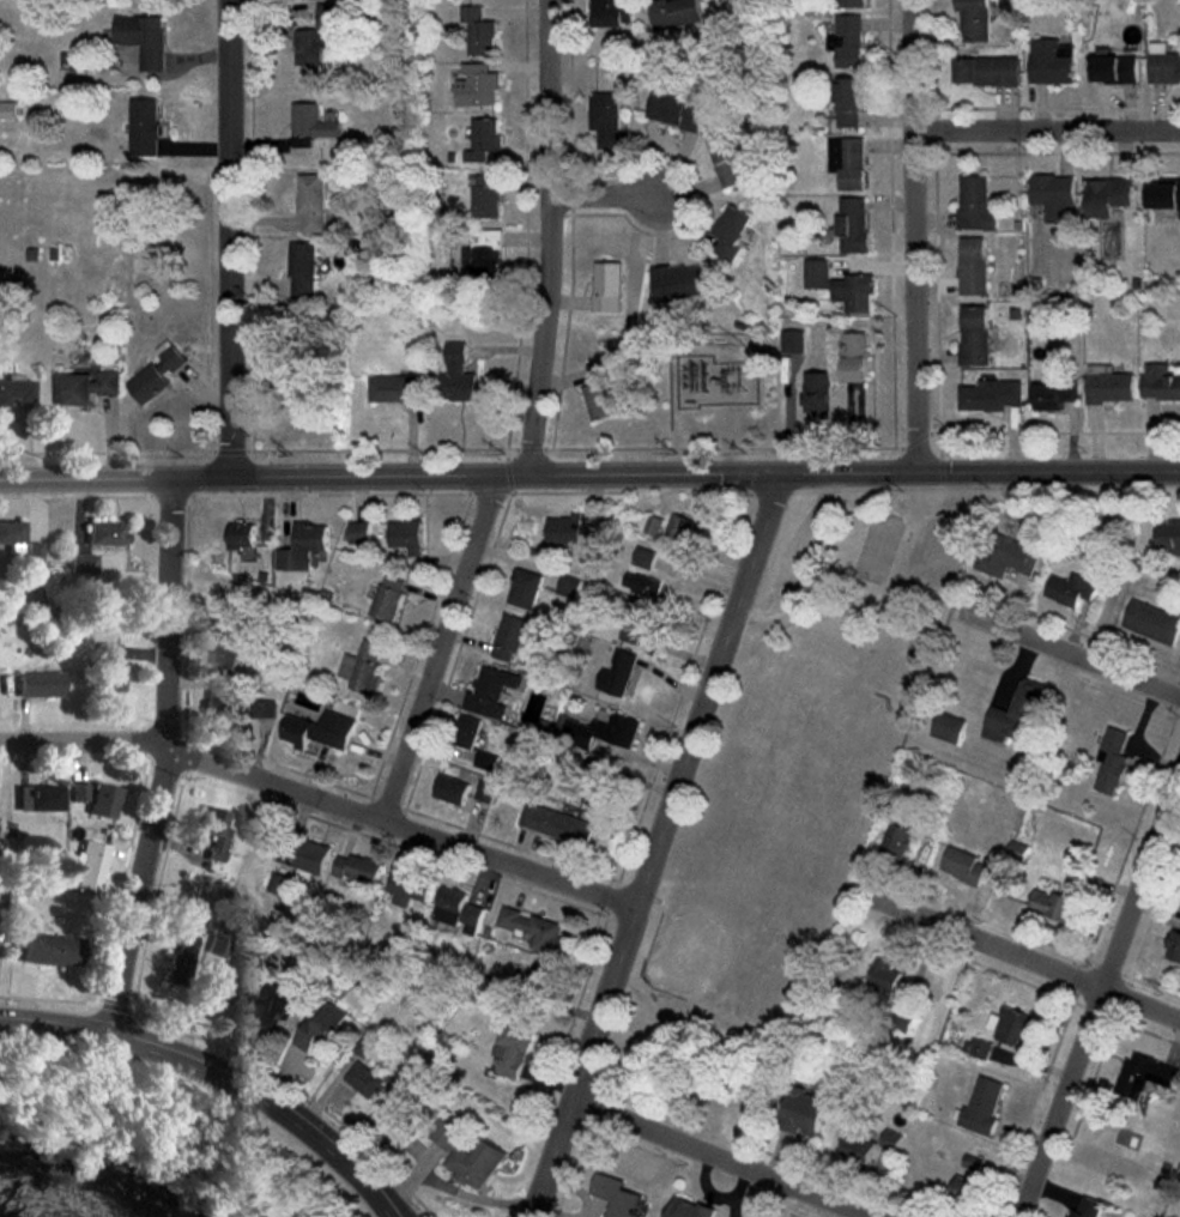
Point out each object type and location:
building: (854, 2)
building: (613, 12)
building: (676, 13)
building: (975, 19)
building: (479, 31)
building: (316, 36)
building: (143, 38)
building: (848, 41)
building: (1052, 61)
building: (1163, 63)
building: (1115, 69)
building: (987, 71)
building: (478, 85)
building: (851, 101)
building: (8, 110)
building: (677, 110)
building: (606, 119)
building: (310, 125)
building: (145, 127)
road: (1048, 131)
building: (485, 139)
building: (731, 161)
building: (849, 162)
building: (1164, 194)
building: (1109, 195)
building: (486, 196)
building: (1055, 196)
road: (606, 198)
building: (313, 202)
building: (976, 204)
building: (853, 224)
building: (732, 231)
road: (918, 235)
road: (226, 237)
road: (549, 237)
building: (486, 254)
building: (974, 266)
building: (304, 270)
building: (682, 281)
building: (609, 286)
building: (842, 286)
building: (975, 335)
building: (794, 341)
building: (857, 357)
building: (599, 370)
building: (158, 373)
building: (460, 376)
building: (1161, 382)
building: (1109, 385)
building: (85, 386)
building: (393, 388)
building: (16, 389)
building: (819, 395)
building: (991, 395)
building: (1055, 395)
building: (600, 400)
road: (589, 473)
building: (654, 526)
building: (685, 528)
building: (11, 532)
building: (361, 532)
building: (105, 533)
building: (242, 535)
building: (407, 535)
building: (1170, 535)
building: (574, 537)
building: (304, 545)
building: (32, 551)
building: (1009, 556)
building: (645, 557)
building: (81, 562)
building: (640, 582)
building: (526, 588)
building: (1072, 588)
building: (388, 598)
building: (635, 620)
building: (1154, 622)
building: (509, 637)
road: (436, 647)
building: (108, 652)
road: (1072, 653)
building: (225, 655)
building: (363, 667)
building: (616, 672)
building: (114, 678)
building: (42, 684)
building: (491, 691)
building: (219, 704)
building: (261, 709)
building: (1016, 714)
building: (949, 727)
building: (319, 729)
building: (466, 731)
building: (603, 731)
road: (169, 757)
building: (1113, 762)
building: (450, 789)
building: (79, 791)
building: (484, 791)
building: (597, 795)
building: (40, 797)
park: (788, 799)
building: (104, 800)
road: (322, 800)
building: (557, 824)
building: (216, 830)
building: (898, 840)
road: (656, 846)
building: (90, 865)
building: (964, 865)
building: (298, 866)
building: (358, 868)
building: (407, 888)
building: (1054, 904)
building: (459, 910)
building: (535, 930)
building: (1174, 946)
building: (52, 949)
road: (1023, 953)
building: (178, 959)
building: (222, 959)
building: (543, 975)
building: (886, 975)
road: (1097, 993)
building: (278, 1001)
building: (903, 1022)
building: (1012, 1025)
building: (321, 1029)
building: (982, 1048)
building: (512, 1049)
road: (222, 1074)
building: (1145, 1074)
building: (365, 1079)
building: (982, 1107)
building: (401, 1109)
building: (805, 1109)
building: (892, 1139)
building: (859, 1148)
building: (471, 1157)
road: (718, 1160)
building: (966, 1192)
building: (616, 1195)
building: (1088, 1207)
building: (689, 1209)
river: (2, 1215)

